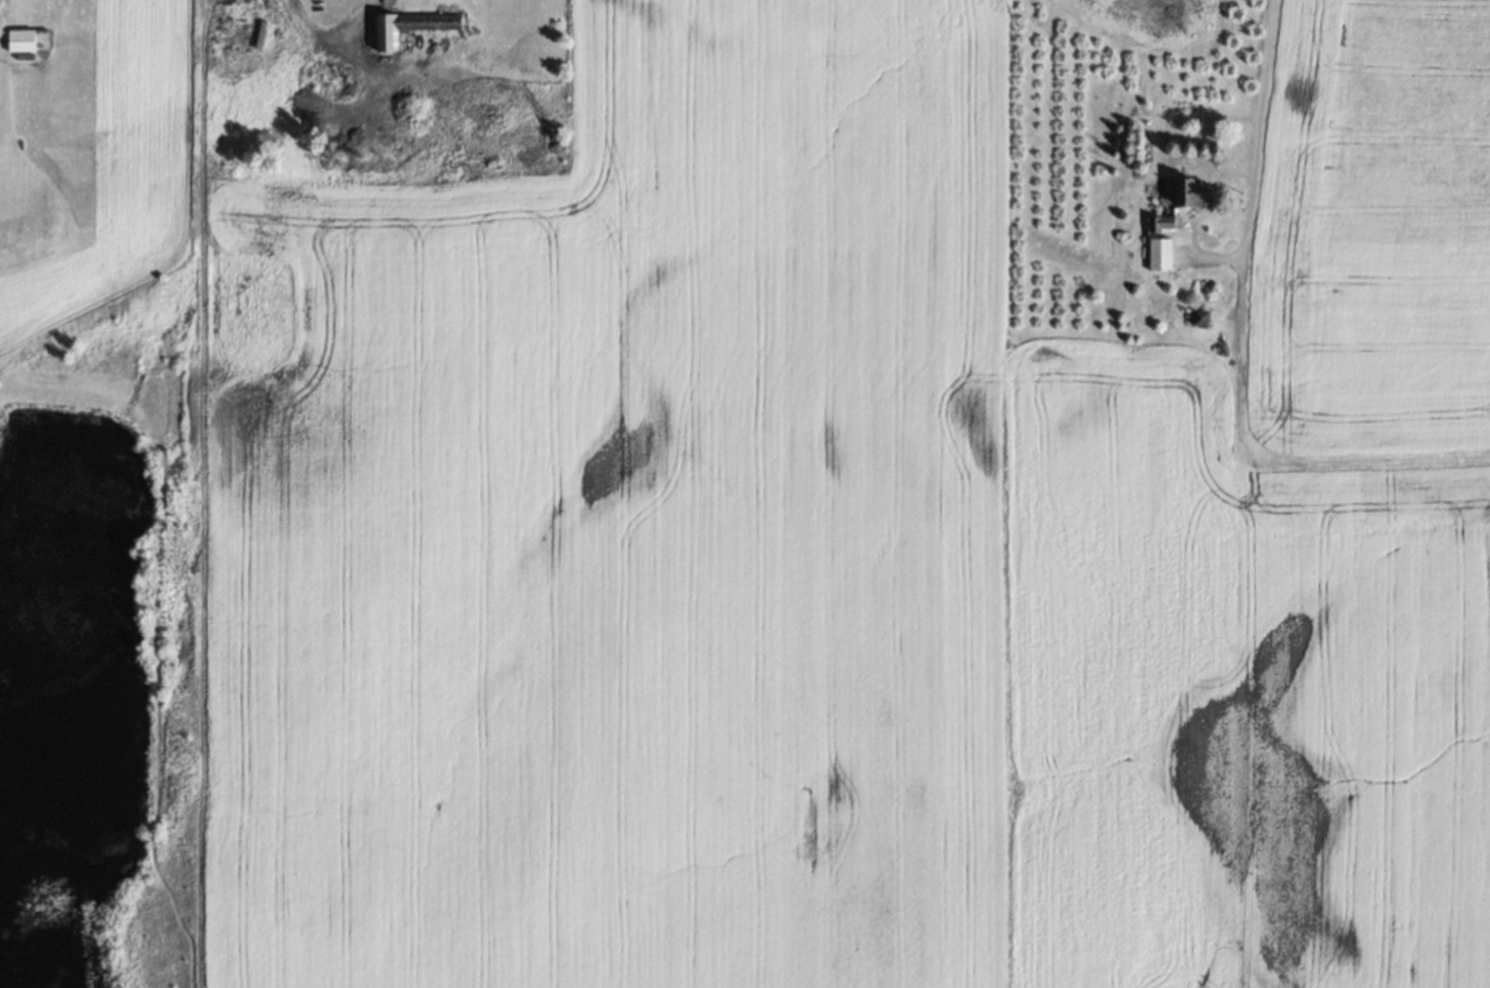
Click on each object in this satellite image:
building: (417, 24)
road: (329, 25)
building: (1193, 192)
building: (1163, 221)
building: (1159, 253)
building: (1200, 316)

